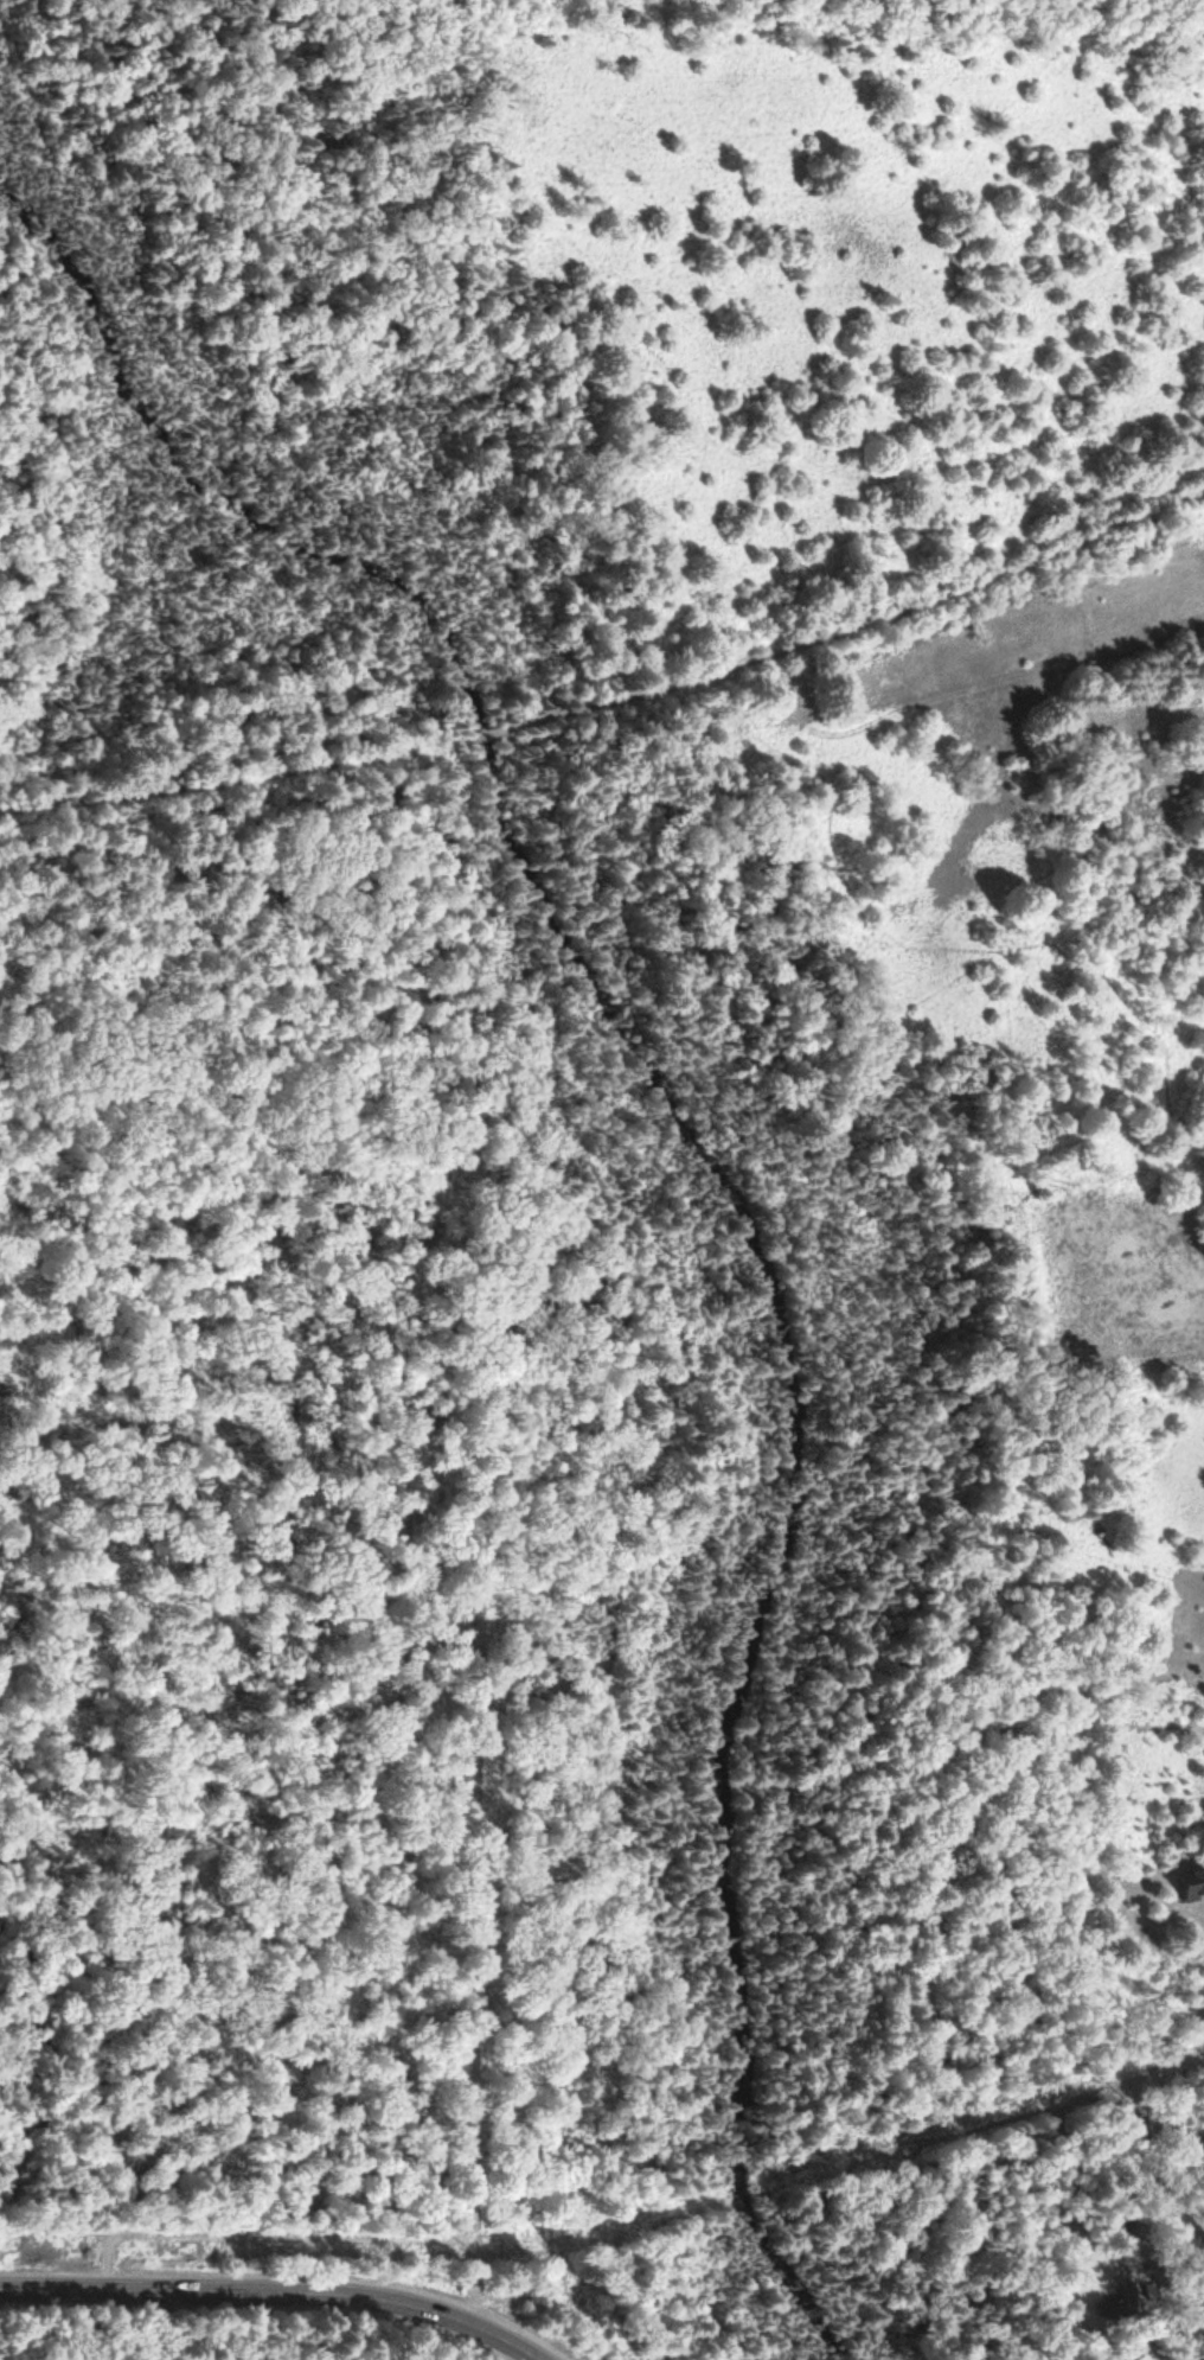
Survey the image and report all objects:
road: (233, 223)
road: (154, 425)
road: (76, 466)
road: (39, 587)
road: (839, 630)
road: (450, 745)
road: (248, 782)
road: (28, 811)
building: (1184, 1243)
building: (1193, 1883)
road: (275, 2290)

